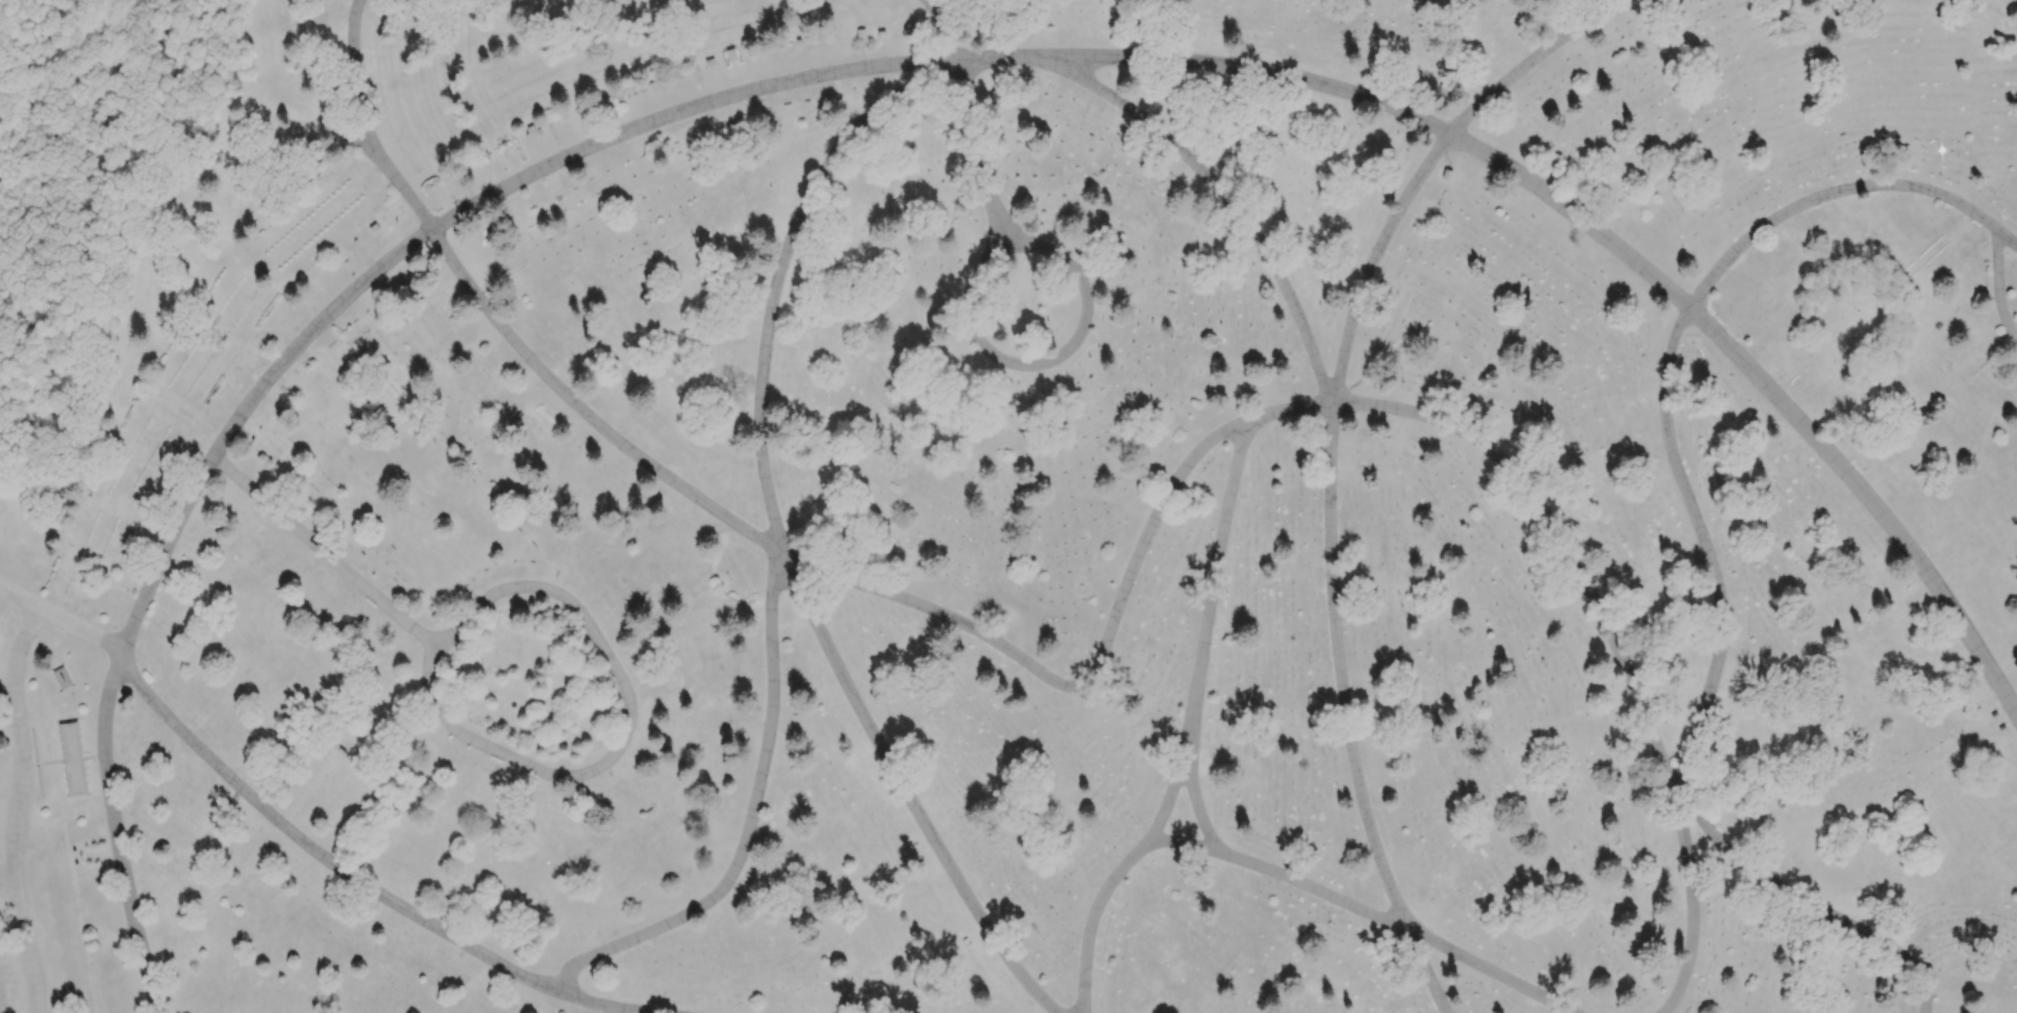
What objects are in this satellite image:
road: (966, 115)
road: (1619, 249)
road: (781, 267)
road: (1999, 286)
road: (293, 352)
road: (1061, 354)
road: (1679, 472)
road: (1331, 505)
park: (1008, 506)
road: (327, 553)
road: (1132, 572)
building: (73, 759)
road: (578, 775)
road: (1184, 789)
road: (20, 809)
road: (751, 819)
road: (301, 838)
road: (5, 871)
road: (1103, 895)

